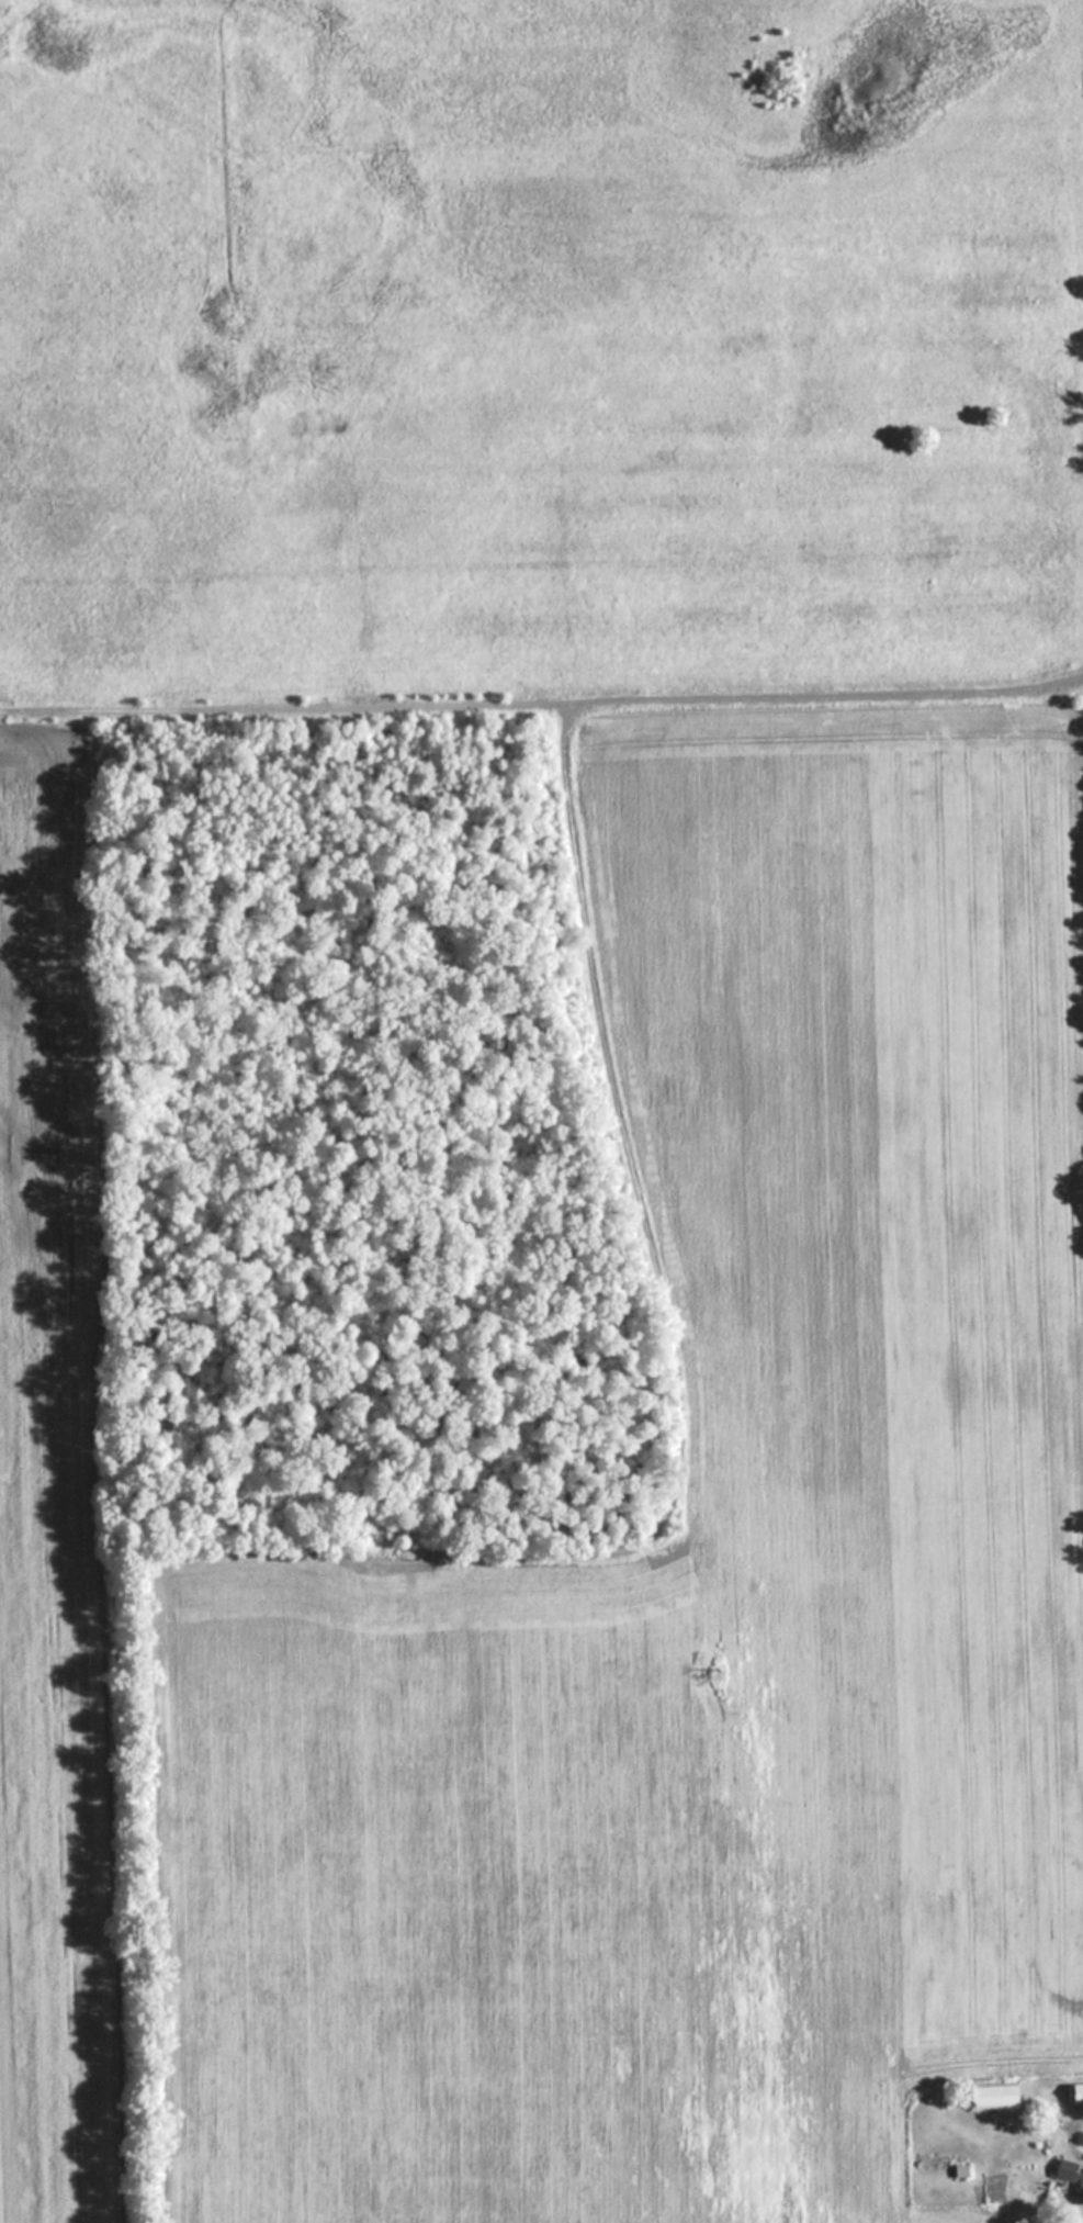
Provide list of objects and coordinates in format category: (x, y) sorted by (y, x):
road: (541, 699)
road: (655, 1242)
building: (1074, 2090)
building: (989, 2095)
building: (1069, 2175)

